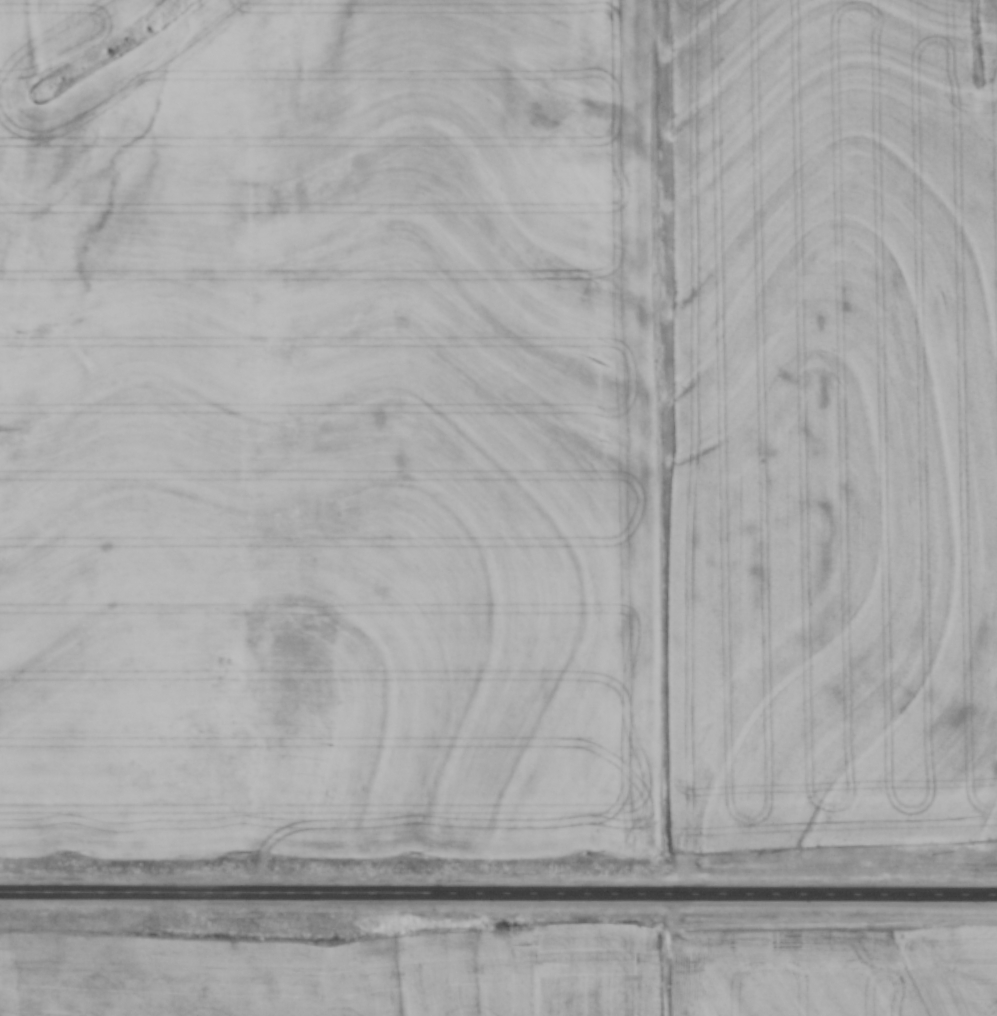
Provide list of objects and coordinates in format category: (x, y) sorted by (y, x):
road: (498, 893)

